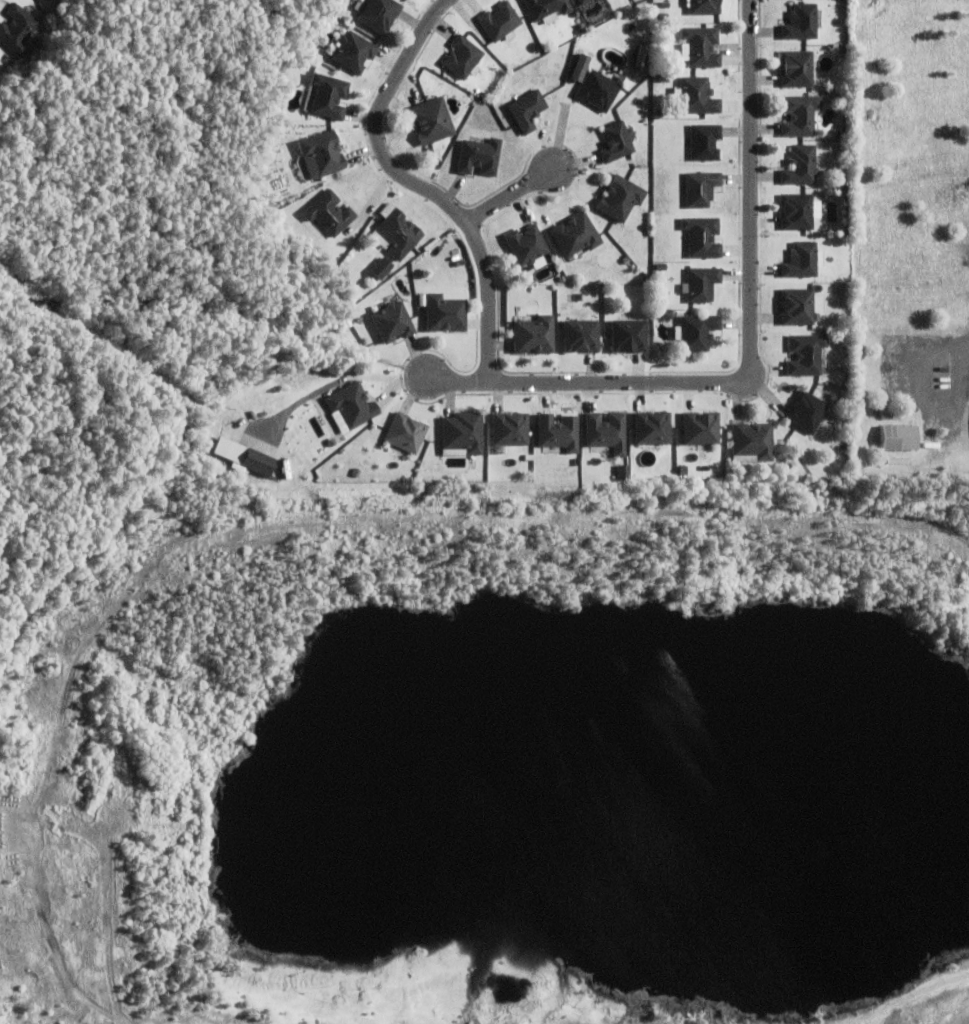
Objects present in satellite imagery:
building: (580, 1)
building: (702, 6)
building: (546, 7)
building: (379, 14)
building: (499, 21)
building: (799, 21)
building: (16, 28)
building: (698, 46)
building: (353, 51)
building: (461, 57)
building: (795, 68)
building: (597, 89)
building: (328, 95)
building: (694, 95)
building: (527, 109)
building: (798, 115)
building: (429, 121)
building: (703, 141)
building: (615, 142)
building: (320, 153)
building: (479, 156)
building: (800, 165)
road: (415, 186)
building: (699, 187)
road: (505, 197)
building: (619, 198)
building: (796, 211)
building: (328, 213)
building: (395, 232)
building: (576, 234)
building: (700, 236)
building: (527, 246)
building: (801, 260)
building: (379, 269)
building: (700, 283)
building: (799, 306)
building: (444, 312)
building: (667, 315)
building: (392, 321)
building: (695, 332)
building: (533, 334)
building: (580, 335)
building: (629, 335)
road: (750, 349)
building: (805, 354)
building: (843, 393)
building: (350, 405)
building: (805, 412)
building: (651, 428)
building: (700, 428)
building: (510, 429)
building: (557, 431)
building: (464, 432)
building: (606, 432)
building: (406, 433)
building: (892, 438)
building: (752, 440)
building: (240, 455)
building: (619, 472)

